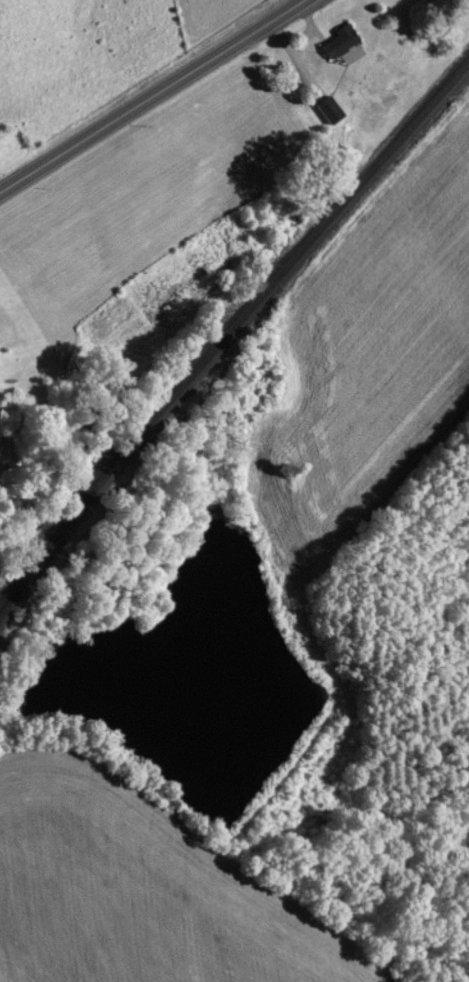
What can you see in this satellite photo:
building: (465, 3)
building: (336, 39)
road: (151, 96)
building: (325, 107)
railway: (226, 332)

